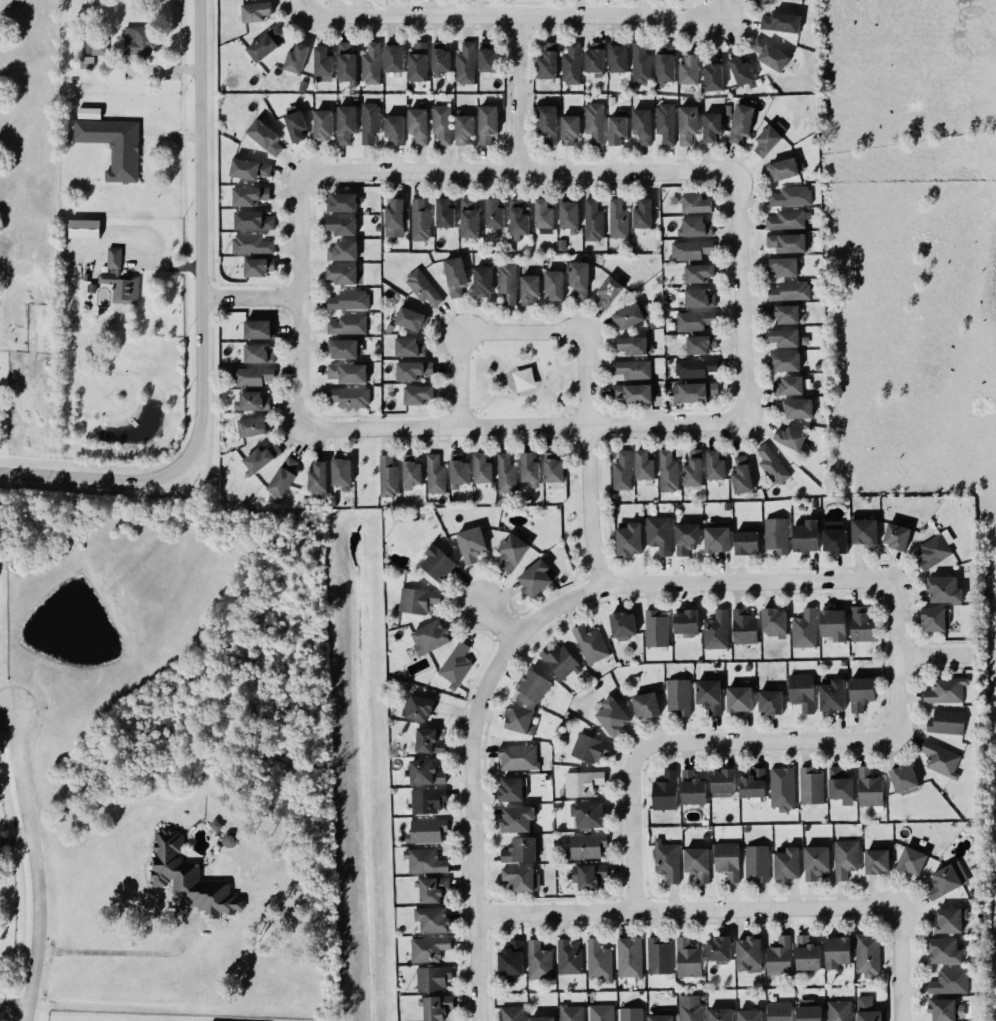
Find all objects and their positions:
building: (759, 0)
building: (771, 0)
road: (303, 7)
building: (257, 11)
road: (512, 15)
building: (782, 22)
building: (140, 40)
building: (266, 43)
building: (95, 45)
building: (769, 54)
building: (441, 57)
building: (295, 58)
building: (394, 58)
building: (595, 58)
building: (618, 58)
building: (488, 59)
building: (548, 61)
building: (87, 62)
building: (347, 62)
building: (418, 62)
building: (372, 63)
building: (466, 63)
building: (666, 63)
building: (323, 64)
building: (572, 64)
building: (642, 65)
building: (689, 69)
building: (742, 70)
building: (714, 76)
road: (518, 94)
building: (346, 123)
building: (371, 123)
building: (548, 123)
building: (596, 123)
building: (666, 123)
building: (742, 123)
building: (323, 124)
building: (442, 124)
building: (488, 124)
building: (688, 124)
building: (295, 125)
building: (419, 125)
building: (643, 125)
building: (712, 126)
building: (395, 128)
building: (464, 129)
building: (570, 129)
building: (618, 129)
building: (265, 136)
building: (770, 138)
building: (115, 146)
building: (250, 169)
building: (783, 169)
road: (520, 172)
building: (250, 196)
building: (792, 197)
building: (342, 202)
building: (696, 204)
building: (445, 213)
building: (494, 213)
building: (543, 213)
building: (644, 214)
building: (570, 216)
building: (395, 218)
building: (469, 218)
building: (519, 218)
building: (619, 219)
building: (421, 220)
building: (789, 220)
building: (253, 221)
building: (595, 221)
building: (341, 225)
building: (696, 227)
building: (83, 228)
building: (788, 243)
building: (253, 244)
building: (692, 250)
building: (343, 251)
building: (259, 266)
building: (783, 266)
building: (700, 273)
building: (343, 274)
building: (455, 277)
building: (120, 279)
building: (580, 280)
building: (483, 281)
building: (508, 283)
building: (554, 285)
building: (424, 288)
building: (530, 289)
building: (791, 291)
building: (609, 292)
road: (252, 298)
building: (700, 298)
road: (742, 299)
road: (302, 300)
building: (350, 301)
building: (785, 314)
building: (632, 316)
building: (412, 319)
building: (695, 321)
building: (349, 325)
road: (202, 327)
building: (259, 329)
road: (522, 331)
building: (785, 337)
building: (701, 344)
building: (635, 345)
building: (409, 348)
building: (346, 349)
building: (259, 355)
building: (786, 361)
building: (695, 368)
building: (415, 370)
building: (633, 370)
building: (348, 373)
building: (253, 377)
road: (460, 379)
building: (525, 379)
park: (523, 380)
building: (790, 386)
building: (695, 392)
building: (632, 393)
building: (418, 394)
building: (351, 398)
building: (253, 402)
building: (799, 409)
road: (524, 425)
building: (253, 427)
building: (790, 437)
building: (262, 458)
road: (589, 460)
building: (773, 464)
building: (644, 465)
building: (715, 466)
building: (482, 468)
building: (553, 468)
building: (694, 468)
building: (530, 469)
building: (412, 470)
building: (459, 471)
building: (623, 471)
building: (669, 471)
building: (342, 473)
building: (507, 474)
building: (436, 475)
building: (284, 476)
building: (742, 476)
building: (389, 477)
building: (318, 480)
building: (865, 532)
building: (660, 535)
building: (777, 535)
building: (806, 536)
building: (897, 536)
building: (717, 537)
building: (835, 537)
building: (687, 538)
building: (629, 540)
building: (747, 542)
building: (472, 544)
building: (936, 549)
building: (513, 551)
building: (437, 563)
building: (537, 578)
building: (945, 590)
building: (419, 601)
building: (935, 619)
road: (499, 621)
building: (685, 622)
building: (774, 622)
building: (833, 625)
building: (862, 625)
building: (623, 626)
building: (745, 627)
building: (806, 629)
building: (657, 630)
building: (717, 631)
building: (430, 638)
road: (517, 638)
building: (592, 645)
road: (937, 655)
road: (898, 658)
building: (560, 662)
building: (457, 665)
building: (534, 686)
building: (947, 691)
building: (802, 692)
building: (861, 694)
building: (680, 696)
building: (710, 696)
building: (833, 696)
building: (740, 698)
building: (771, 702)
building: (646, 706)
building: (418, 708)
building: (613, 717)
road: (5, 718)
building: (520, 720)
building: (947, 722)
building: (429, 741)
road: (765, 741)
building: (591, 749)
building: (519, 758)
building: (943, 760)
building: (426, 773)
building: (905, 780)
building: (723, 782)
building: (584, 784)
building: (754, 784)
building: (840, 784)
building: (812, 786)
building: (693, 788)
building: (870, 788)
building: (513, 789)
building: (783, 789)
building: (666, 792)
building: (429, 801)
building: (588, 815)
building: (516, 819)
building: (216, 826)
building: (427, 832)
road: (633, 832)
building: (230, 840)
road: (16, 846)
building: (588, 846)
building: (520, 851)
building: (847, 859)
building: (668, 861)
building: (728, 861)
building: (912, 861)
building: (426, 862)
building: (878, 862)
building: (816, 863)
road: (36, 864)
building: (698, 864)
building: (758, 864)
building: (787, 865)
building: (590, 877)
building: (190, 879)
building: (519, 879)
building: (948, 880)
building: (433, 890)
road: (689, 910)
building: (432, 920)
building: (951, 920)
building: (430, 949)
building: (719, 950)
building: (945, 951)
road: (112, 952)
building: (837, 953)
building: (807, 954)
building: (749, 955)
building: (869, 955)
building: (660, 957)
building: (570, 958)
building: (631, 958)
building: (780, 958)
building: (689, 959)
building: (512, 961)
building: (540, 962)
building: (600, 962)
road: (901, 964)
building: (435, 979)
building: (951, 982)
road: (14, 1001)
building: (436, 1008)
building: (691, 1008)
building: (867, 1009)
building: (947, 1010)
building: (780, 1011)
building: (840, 1011)
building: (572, 1013)
building: (602, 1013)
building: (810, 1013)
building: (513, 1014)
building: (632, 1014)
building: (721, 1015)
building: (750, 1015)
building: (661, 1018)
building: (542, 1019)
road: (64, 1020)

